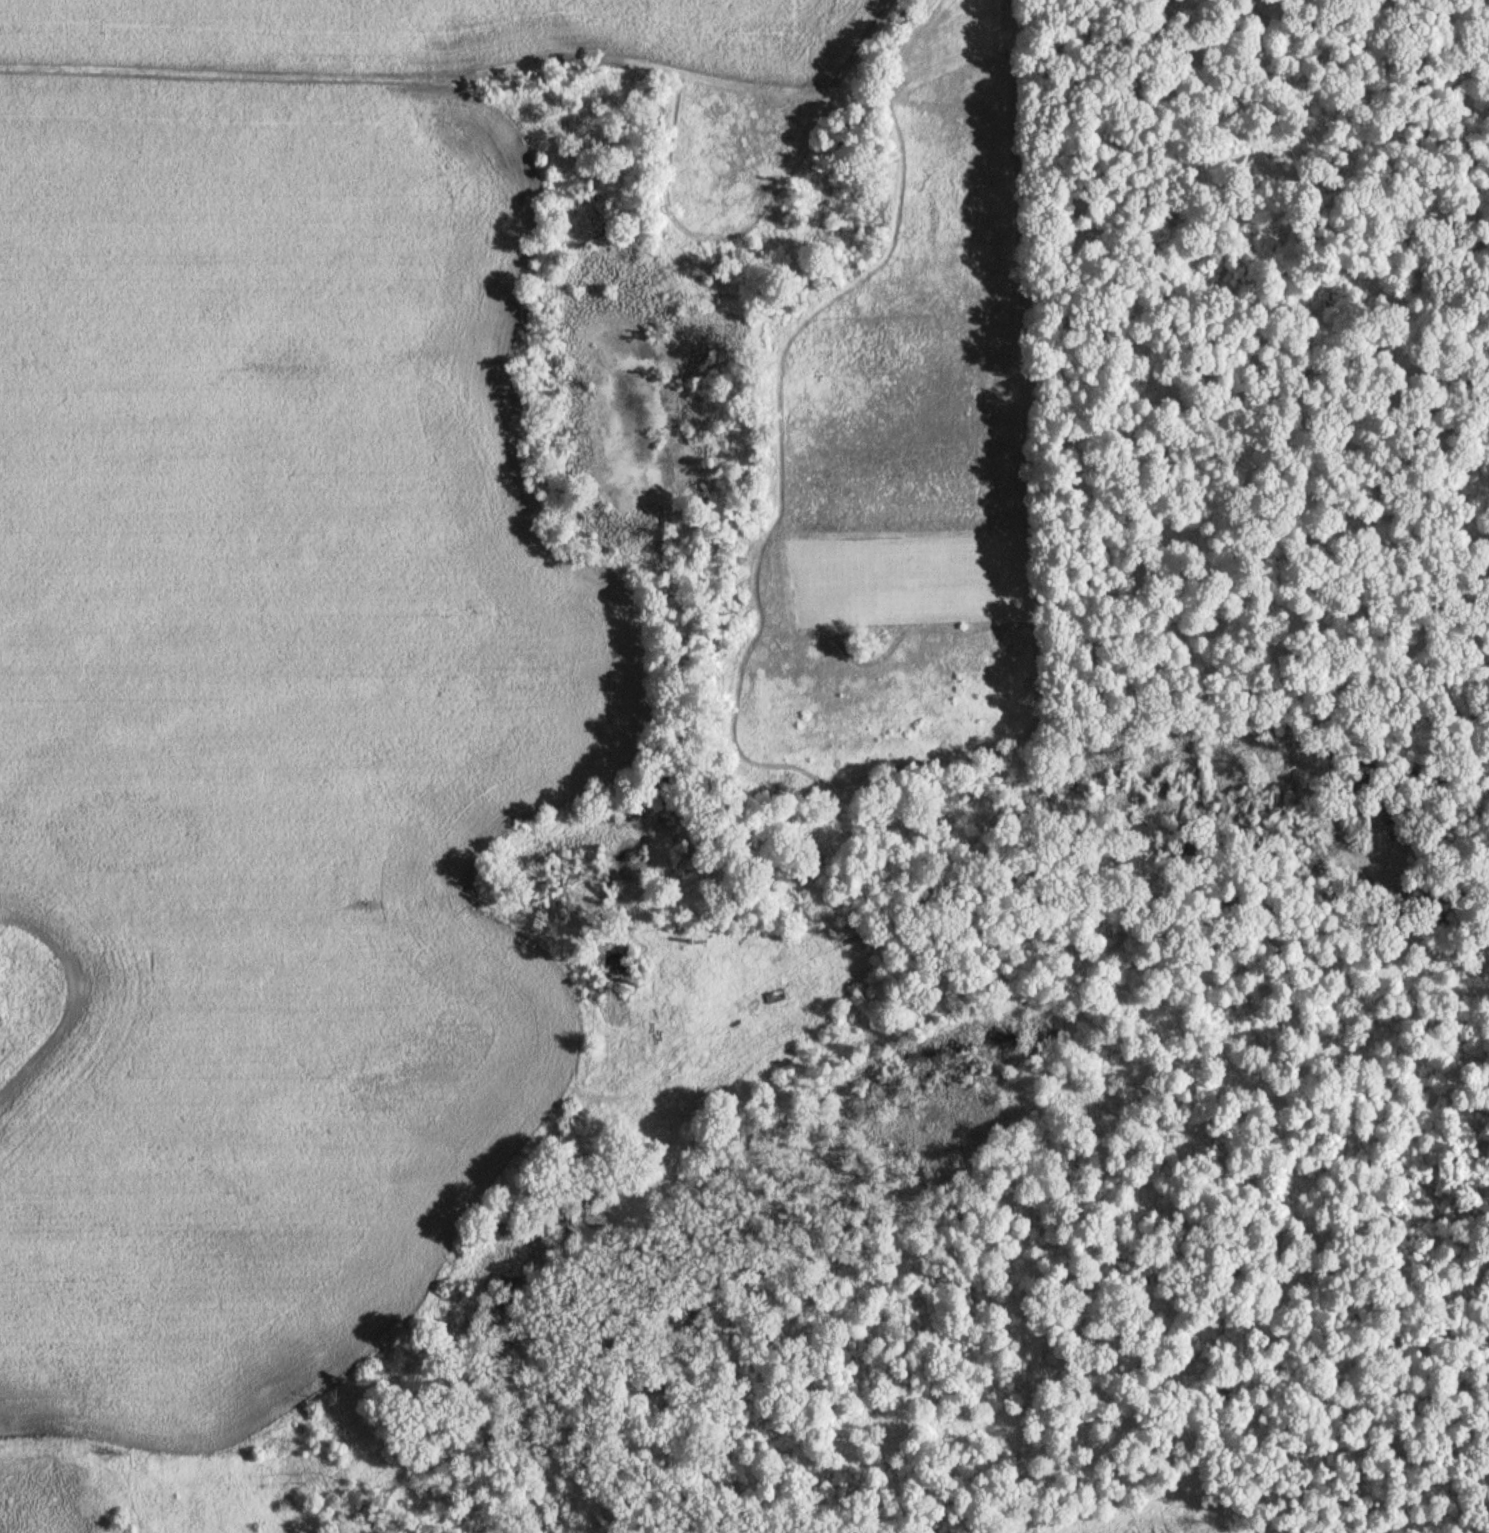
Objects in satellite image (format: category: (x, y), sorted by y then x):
building: (771, 996)

